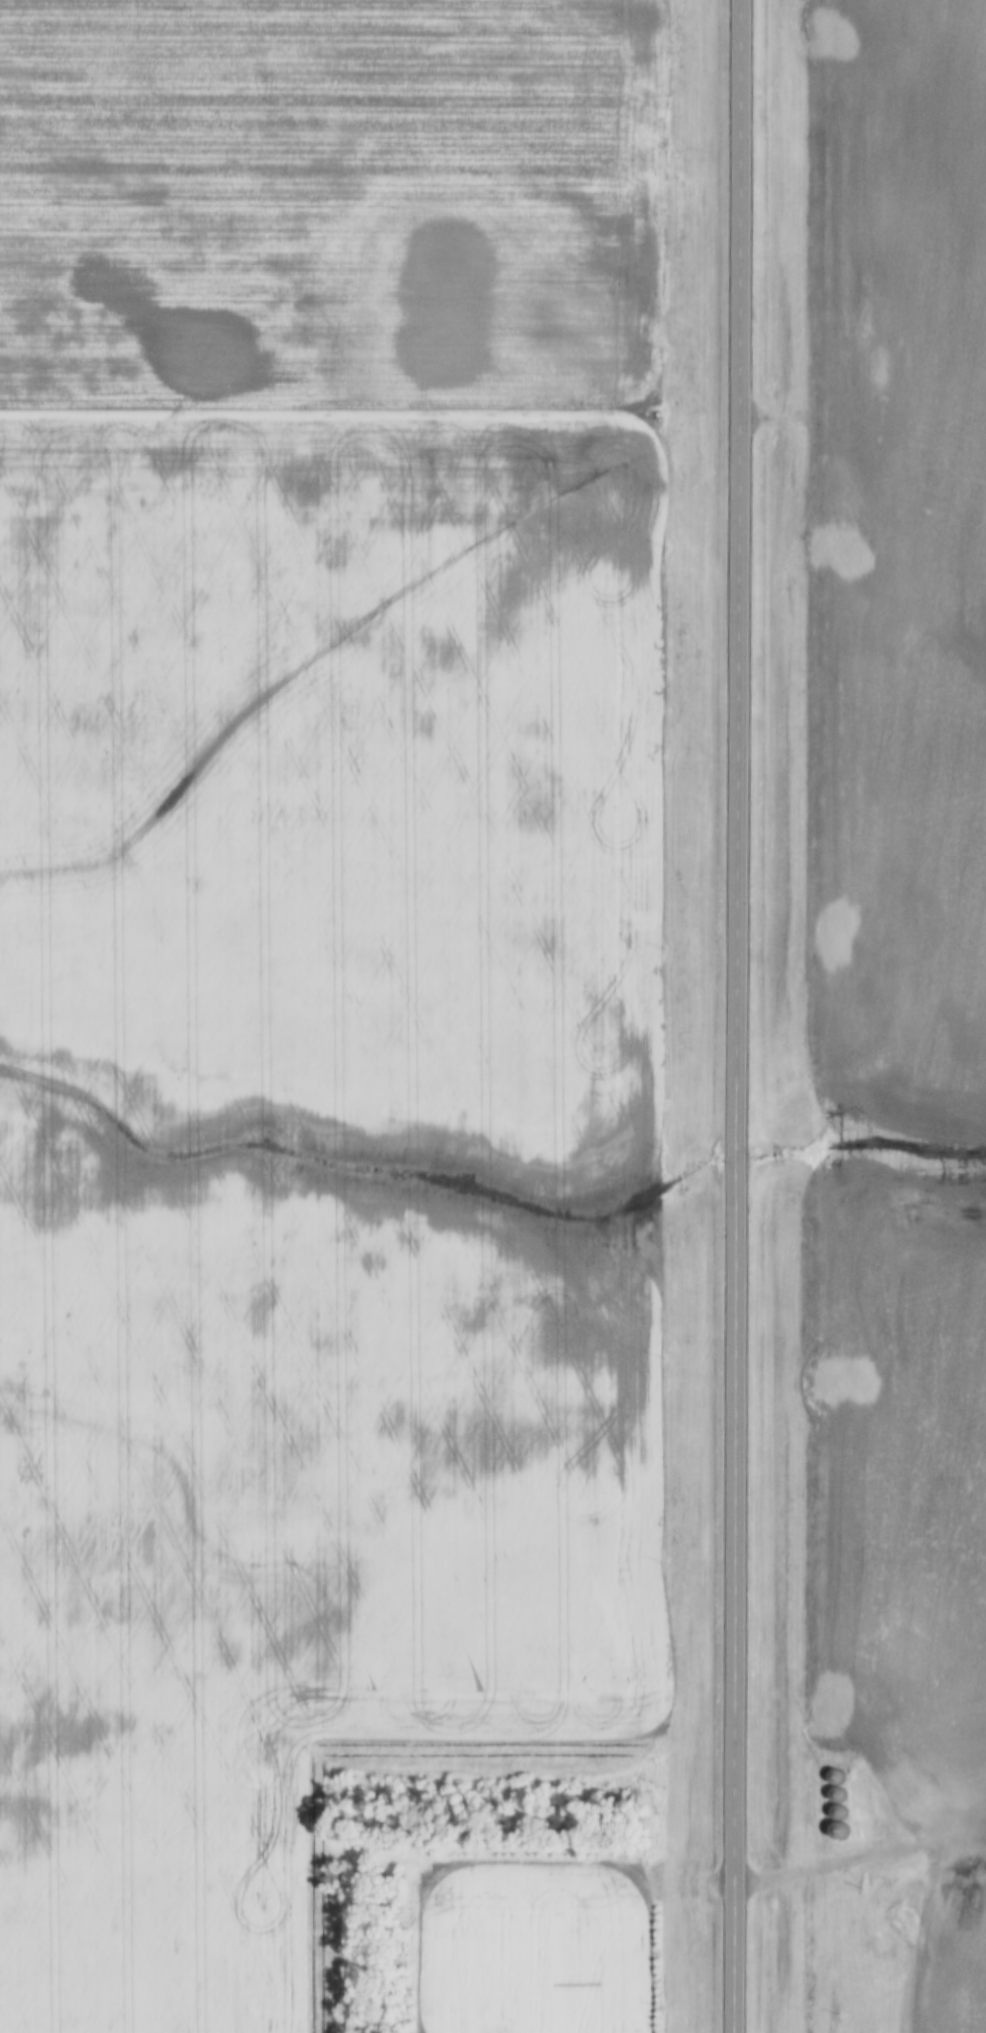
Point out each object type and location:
road: (742, 1016)
building: (837, 1805)
building: (912, 1805)
road: (859, 1860)

